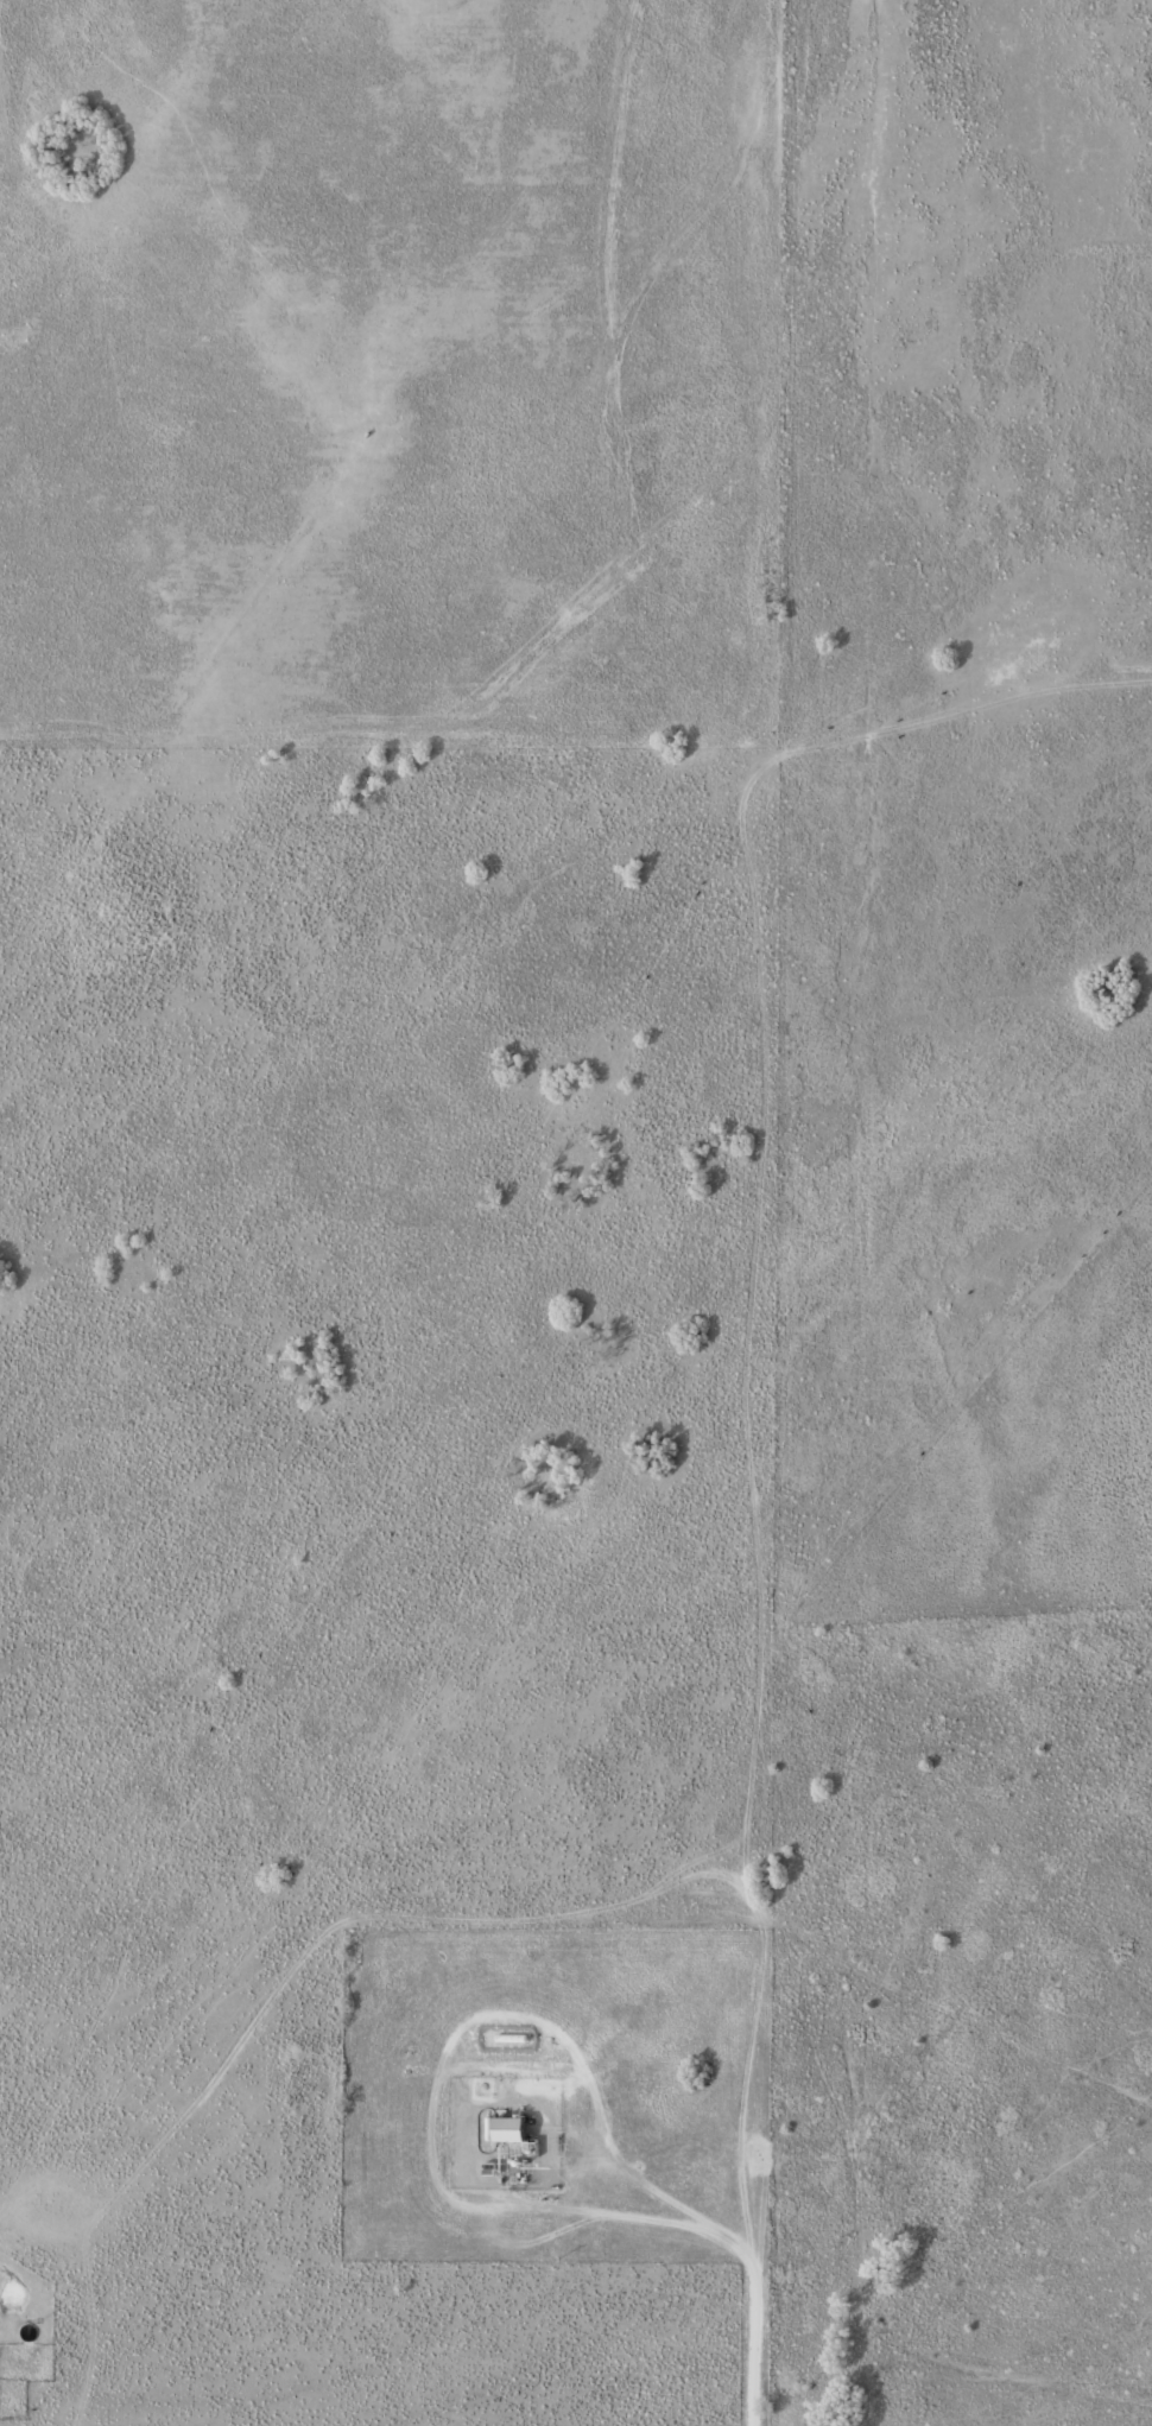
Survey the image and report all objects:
building: (502, 2129)

